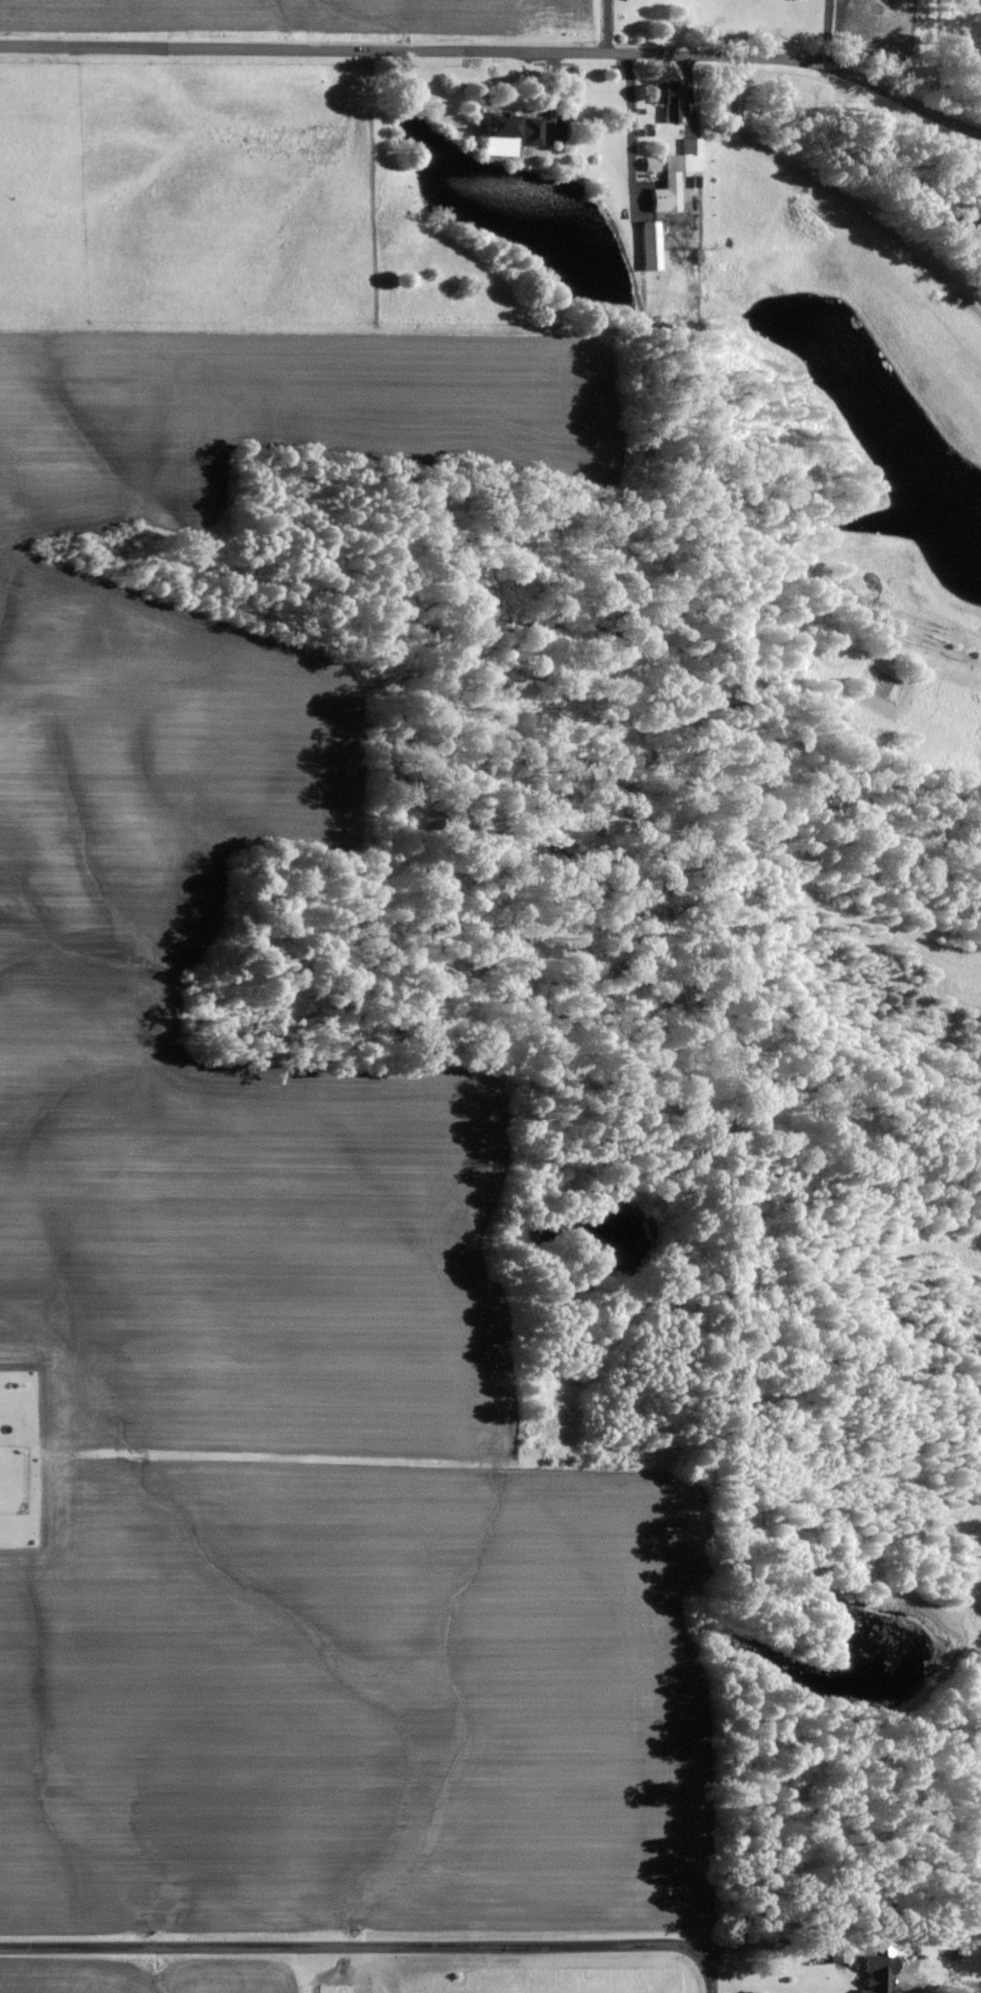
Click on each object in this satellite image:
road: (607, 31)
road: (826, 37)
road: (497, 60)
road: (553, 104)
building: (666, 110)
building: (501, 133)
road: (630, 138)
building: (531, 139)
building: (651, 171)
building: (675, 183)
road: (834, 203)
building: (649, 252)
petroleum well: (872, 606)
building: (967, 700)
road: (938, 1237)
road: (976, 1522)
road: (864, 1539)
road: (797, 1944)
road: (370, 1947)
building: (877, 1978)

